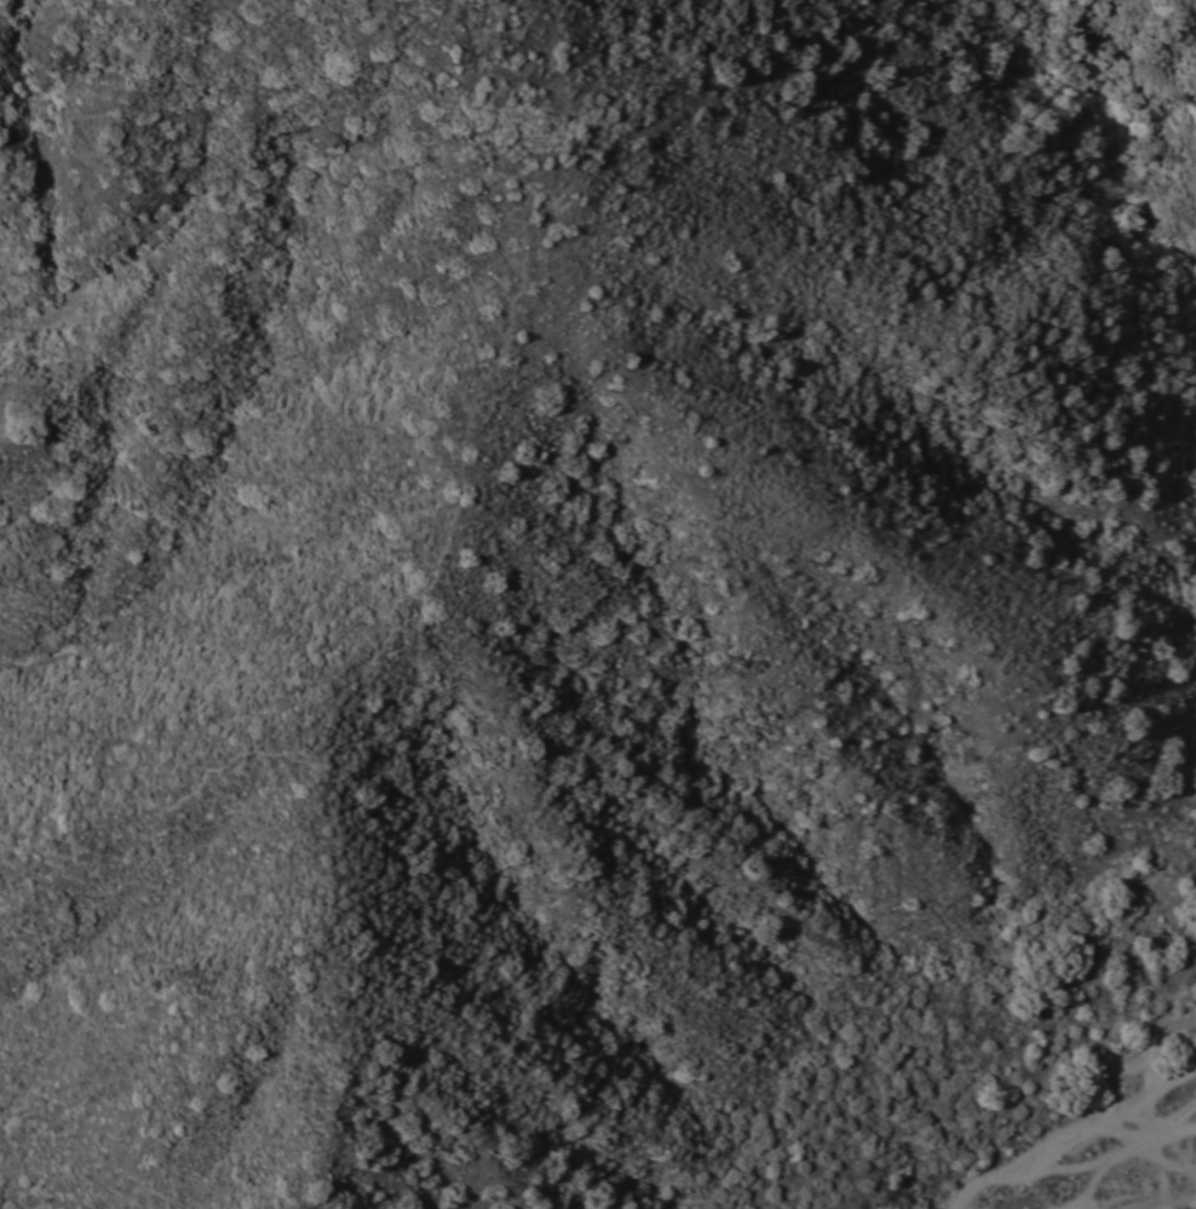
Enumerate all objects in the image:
road: (433, 564)
road: (1071, 1158)

